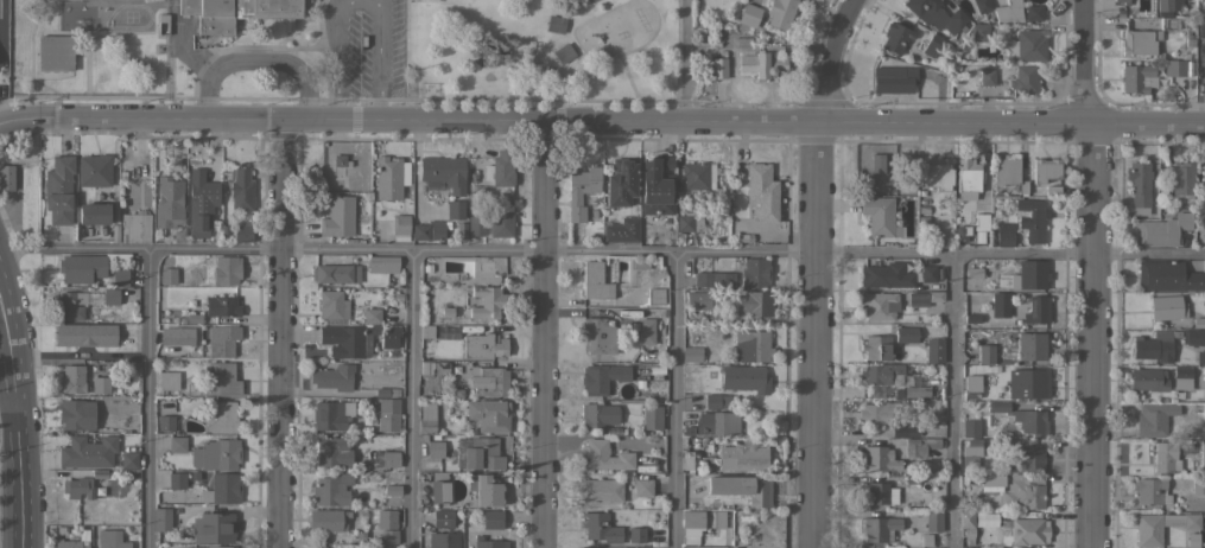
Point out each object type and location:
building: (430, 0)
building: (589, 0)
building: (591, 0)
building: (1123, 1)
building: (982, 5)
building: (1167, 6)
building: (1009, 11)
building: (1034, 12)
building: (237, 13)
building: (780, 13)
building: (750, 14)
building: (936, 14)
building: (1169, 23)
building: (556, 24)
building: (1201, 28)
building: (979, 32)
building: (895, 37)
building: (1140, 42)
building: (932, 45)
building: (1028, 45)
park: (543, 47)
building: (55, 52)
building: (564, 52)
road: (338, 58)
road: (380, 58)
road: (829, 59)
road: (0, 60)
road: (255, 60)
road: (681, 62)
building: (763, 62)
road: (1080, 63)
building: (1204, 63)
building: (718, 65)
building: (1174, 68)
building: (987, 77)
building: (1137, 78)
building: (893, 79)
building: (1023, 79)
road: (139, 117)
road: (293, 120)
road: (756, 123)
building: (876, 163)
building: (500, 168)
building: (1045, 168)
building: (94, 170)
building: (444, 172)
building: (937, 173)
building: (1008, 173)
building: (697, 174)
building: (968, 174)
building: (6, 177)
building: (388, 177)
building: (1180, 177)
building: (1201, 177)
building: (621, 181)
building: (655, 186)
building: (1140, 186)
building: (241, 189)
building: (59, 190)
building: (581, 190)
building: (761, 191)
building: (201, 198)
building: (169, 202)
building: (455, 209)
building: (94, 214)
building: (877, 215)
building: (337, 216)
building: (1030, 218)
building: (500, 219)
building: (685, 223)
building: (400, 224)
building: (475, 224)
building: (979, 225)
building: (135, 227)
building: (621, 229)
building: (1163, 229)
building: (429, 230)
building: (242, 232)
building: (1004, 237)
road: (602, 253)
building: (382, 263)
building: (87, 266)
building: (223, 268)
building: (755, 272)
building: (335, 273)
building: (927, 273)
building: (886, 274)
building: (1032, 274)
building: (167, 275)
building: (119, 276)
building: (486, 276)
building: (1167, 276)
building: (714, 278)
building: (595, 281)
building: (110, 295)
building: (655, 295)
building: (924, 297)
building: (698, 300)
building: (486, 301)
building: (748, 302)
building: (332, 304)
building: (1001, 304)
building: (71, 305)
building: (879, 305)
building: (221, 306)
building: (1167, 307)
building: (1036, 310)
building: (370, 314)
building: (646, 326)
building: (425, 331)
building: (176, 333)
road: (280, 333)
building: (906, 333)
building: (85, 334)
road: (540, 334)
building: (389, 336)
building: (598, 336)
road: (808, 336)
road: (1091, 336)
building: (1193, 337)
building: (221, 340)
building: (342, 340)
building: (483, 345)
building: (751, 345)
building: (1032, 345)
building: (876, 346)
building: (1154, 346)
building: (934, 350)
building: (985, 352)
road: (80, 353)
building: (691, 353)
building: (1200, 356)
building: (435, 369)
building: (880, 371)
building: (334, 376)
building: (602, 377)
building: (1181, 377)
building: (71, 378)
building: (221, 378)
building: (744, 378)
building: (1148, 378)
building: (169, 380)
building: (490, 381)
building: (101, 383)
building: (1028, 383)
building: (971, 385)
building: (917, 390)
building: (381, 391)
road: (146, 399)
road: (411, 400)
road: (673, 400)
building: (717, 401)
road: (951, 401)
building: (107, 407)
building: (493, 408)
building: (876, 412)
building: (1203, 412)
building: (76, 413)
building: (331, 414)
building: (386, 414)
building: (597, 415)
road: (9, 416)
road: (19, 416)
building: (223, 416)
building: (652, 416)
building: (426, 418)
building: (1022, 418)
building: (1153, 419)
building: (164, 422)
building: (717, 423)
building: (971, 427)
building: (905, 431)
building: (177, 444)
building: (920, 445)
building: (435, 448)
building: (87, 451)
building: (331, 451)
building: (971, 452)
building: (216, 453)
building: (482, 453)
building: (1203, 454)
building: (604, 455)
building: (743, 457)
building: (1165, 457)
building: (389, 458)
building: (880, 458)
building: (1025, 459)
building: (129, 460)
building: (695, 460)
building: (985, 478)
building: (177, 480)
building: (1198, 485)
building: (439, 486)
building: (643, 486)
building: (78, 488)
building: (741, 488)
building: (222, 489)
building: (332, 489)
building: (484, 489)
building: (601, 490)
building: (1150, 491)
building: (875, 492)
building: (1023, 492)
building: (443, 517)
building: (161, 518)
building: (386, 518)
building: (491, 518)
building: (965, 518)
building: (328, 520)
building: (933, 521)
building: (699, 522)
building: (213, 527)
building: (600, 527)
building: (880, 528)
building: (1029, 530)
building: (638, 534)
building: (389, 536)
building: (1148, 537)
building: (110, 539)
building: (443, 540)
building: (1193, 540)
building: (74, 541)
building: (488, 542)
building: (702, 546)
building: (210, 547)
building: (319, 547)
building: (629, 547)
building: (735, 547)

